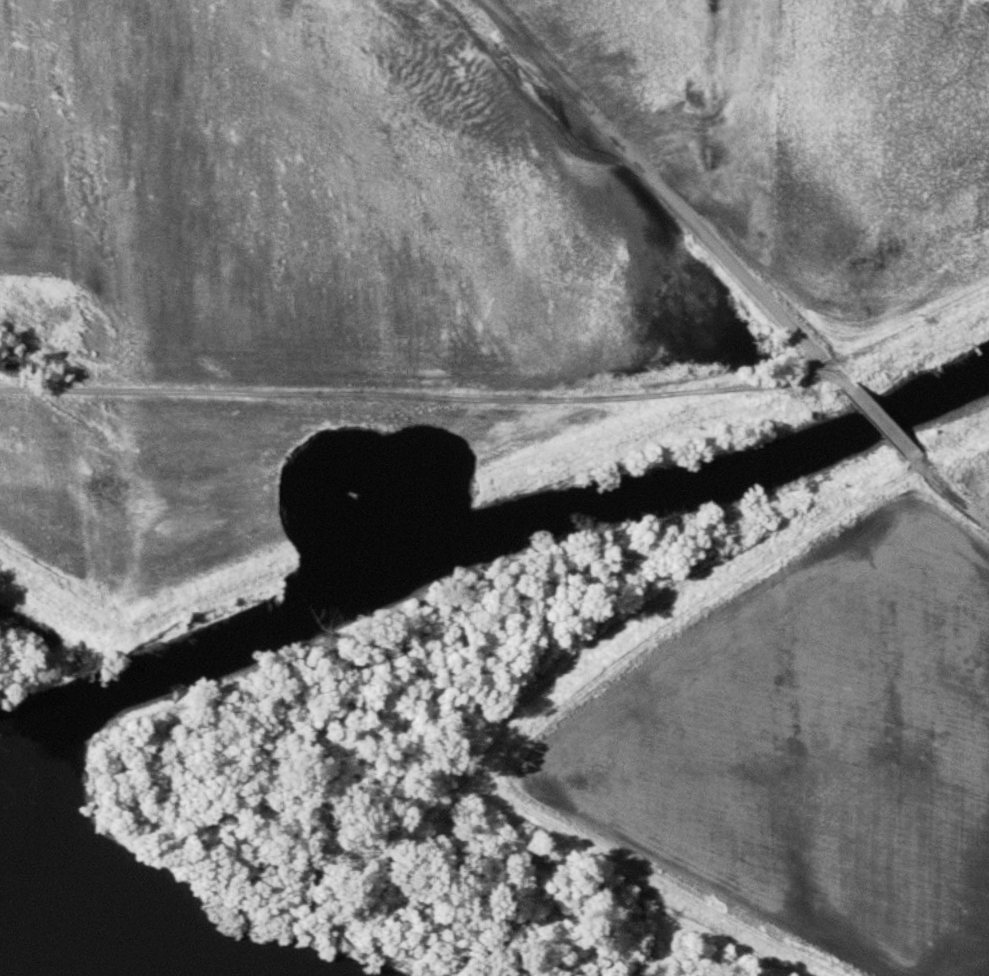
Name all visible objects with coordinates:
road: (663, 186)
road: (870, 412)
road: (943, 488)
river: (485, 532)

